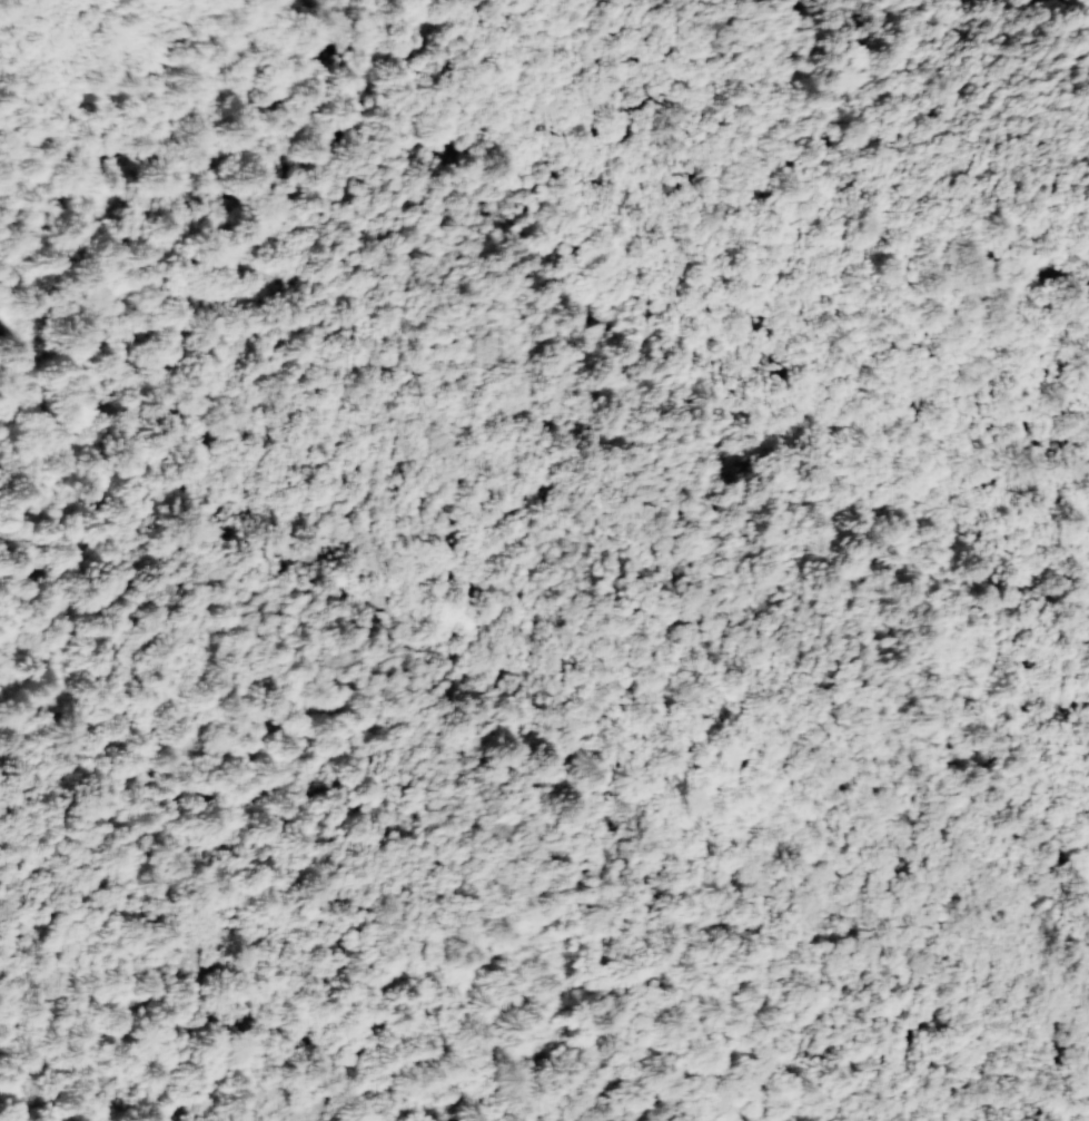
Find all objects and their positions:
road: (126, 302)

